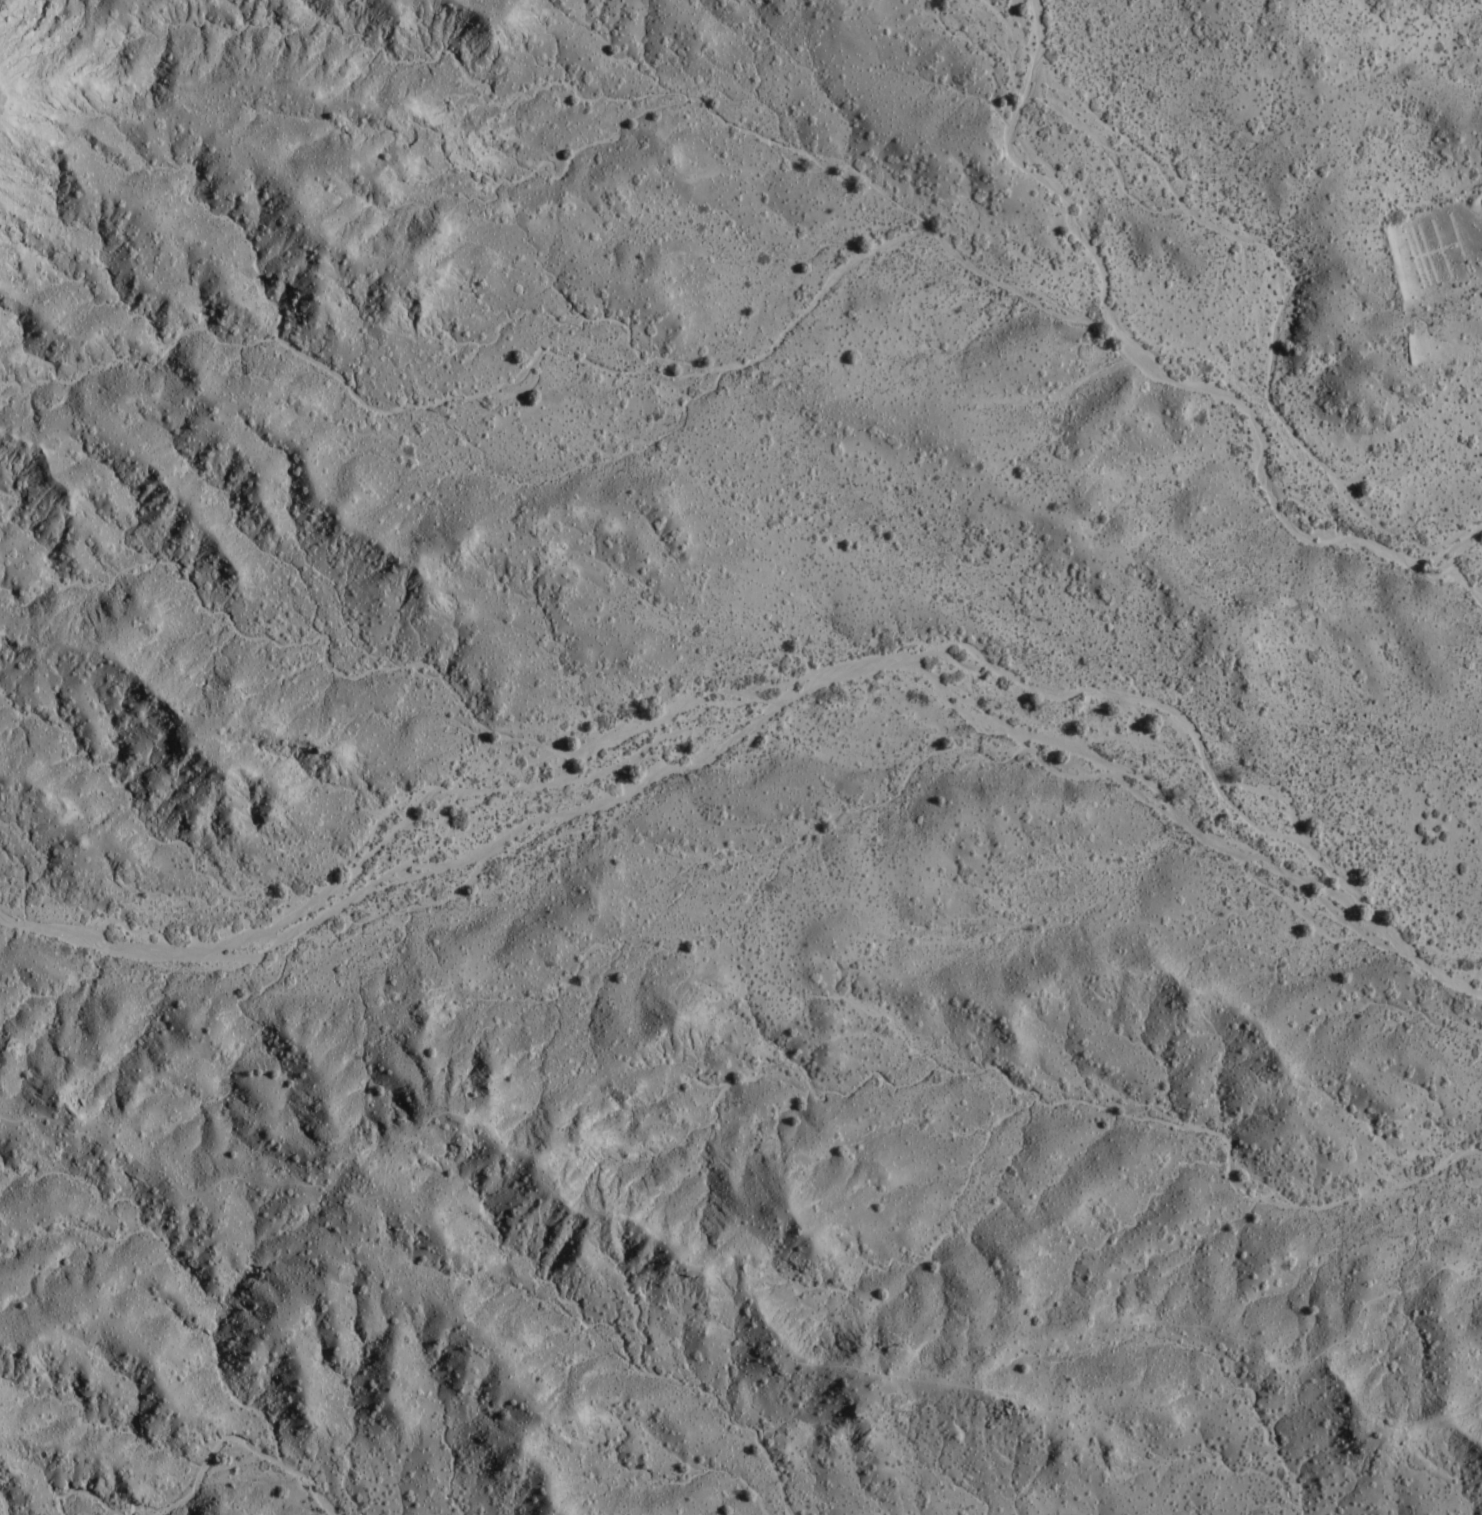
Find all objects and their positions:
river: (1163, 374)
road: (743, 1283)

